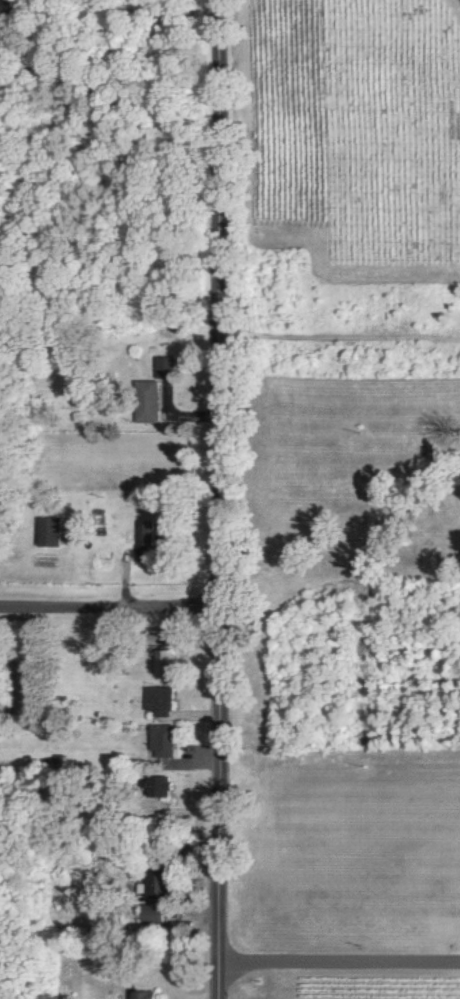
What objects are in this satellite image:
building: (164, 367)
building: (147, 402)
road: (220, 499)
building: (47, 532)
building: (146, 541)
road: (110, 612)
building: (158, 701)
building: (161, 741)
building: (158, 787)
building: (155, 899)
road: (341, 964)
building: (146, 994)

